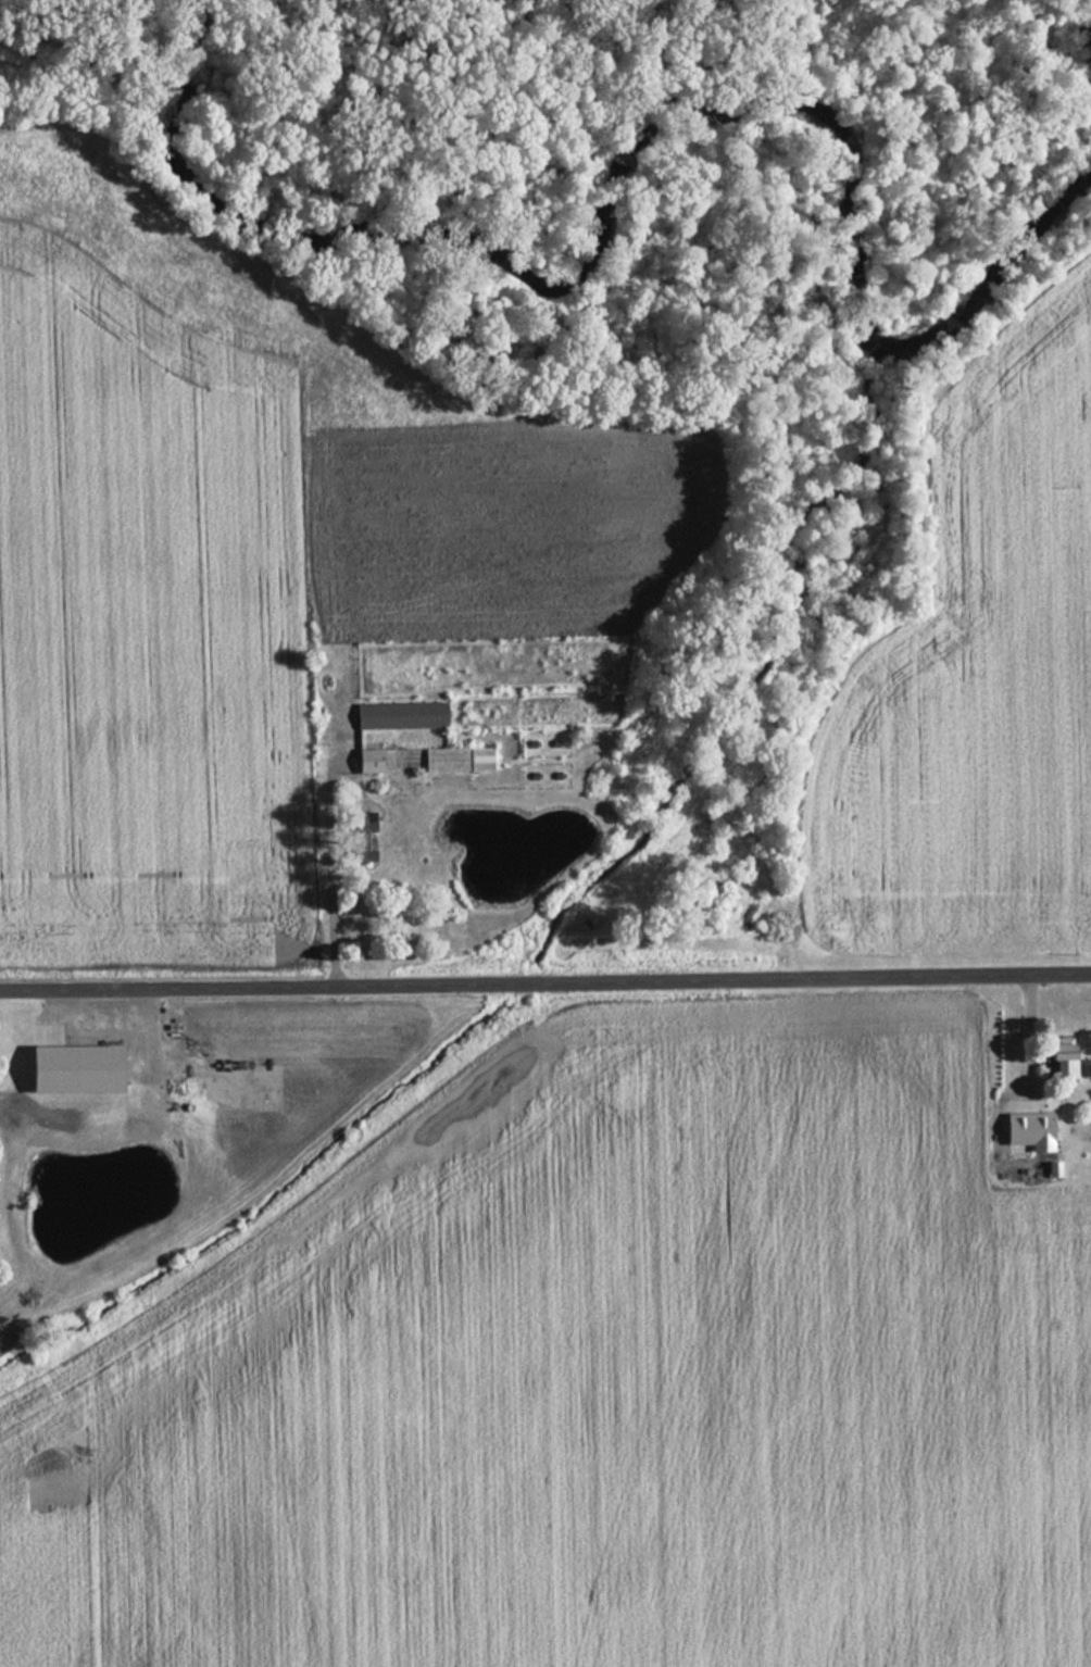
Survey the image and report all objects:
building: (397, 715)
building: (454, 760)
building: (369, 761)
building: (355, 837)
road: (330, 873)
road: (544, 979)
building: (67, 1069)
crop: (604, 1399)

